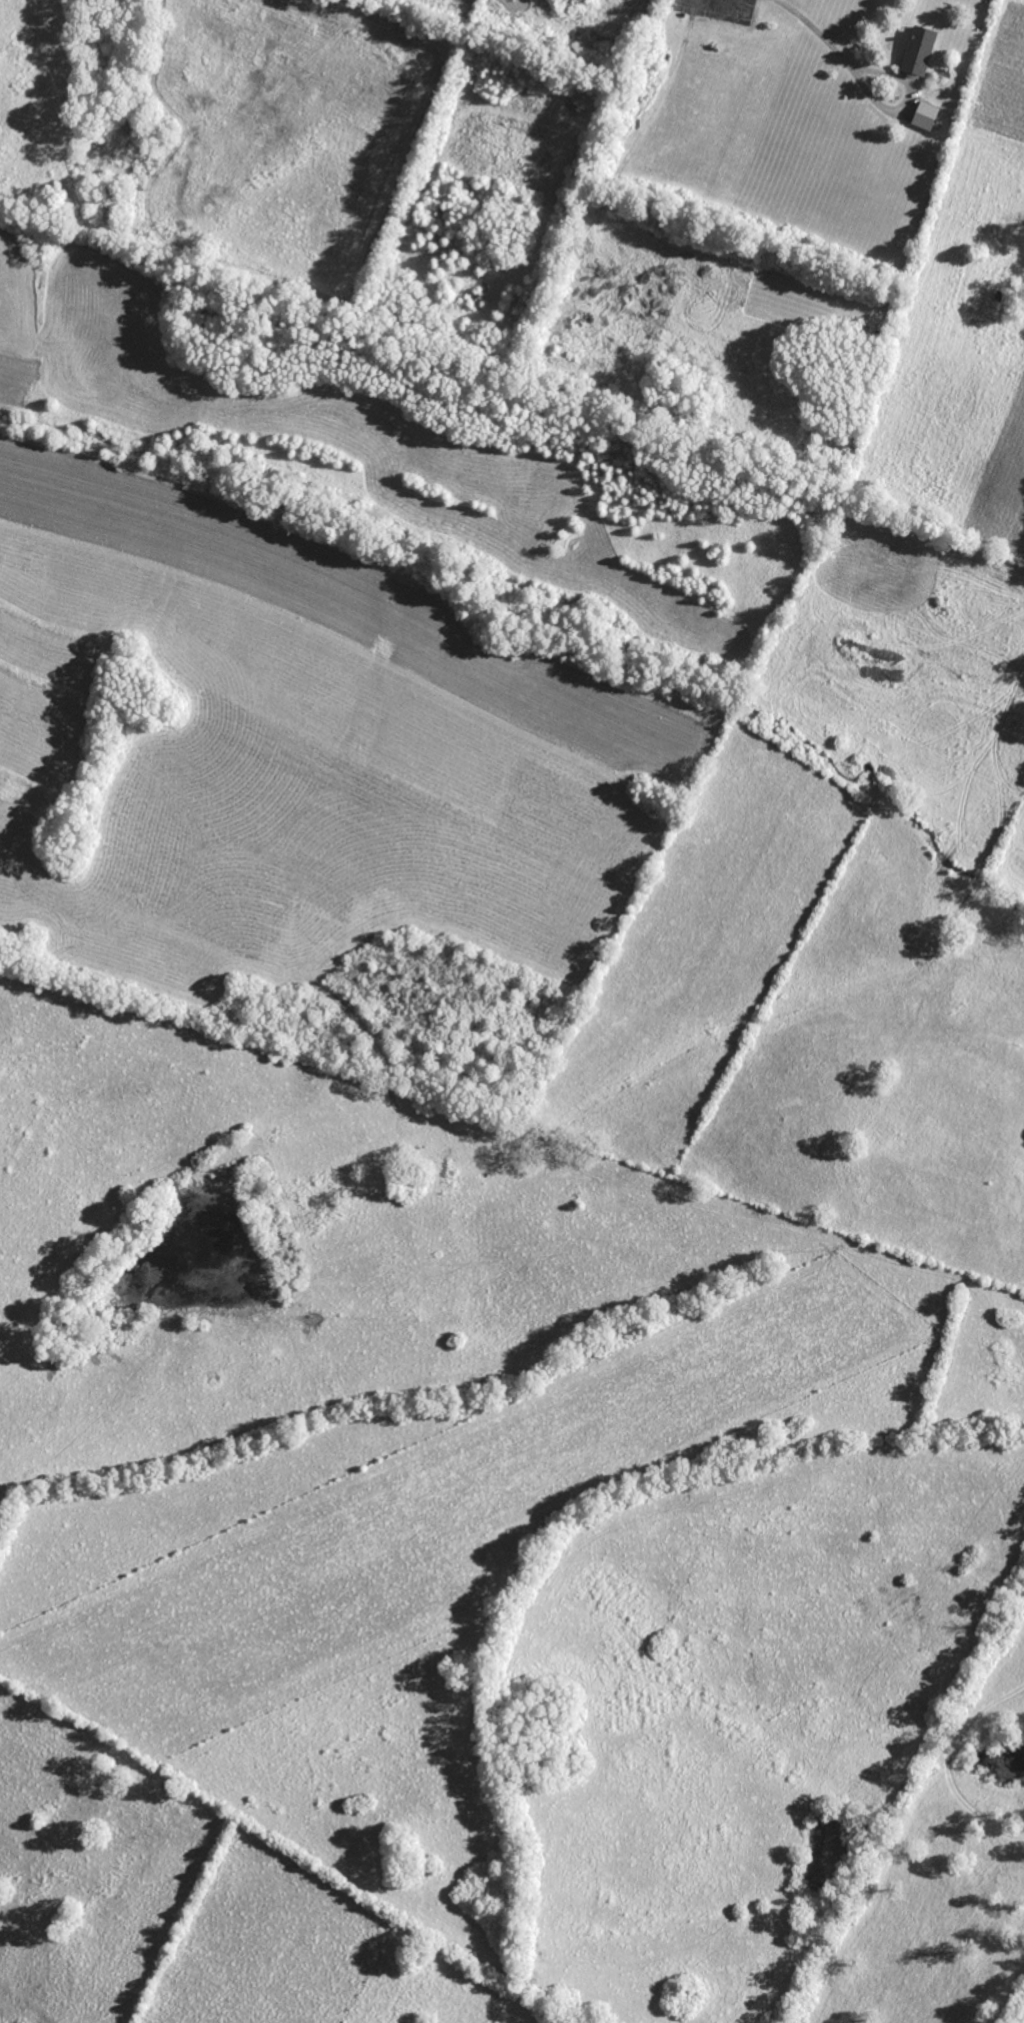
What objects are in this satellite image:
road: (815, 32)
building: (919, 50)
road: (909, 102)
building: (926, 115)

